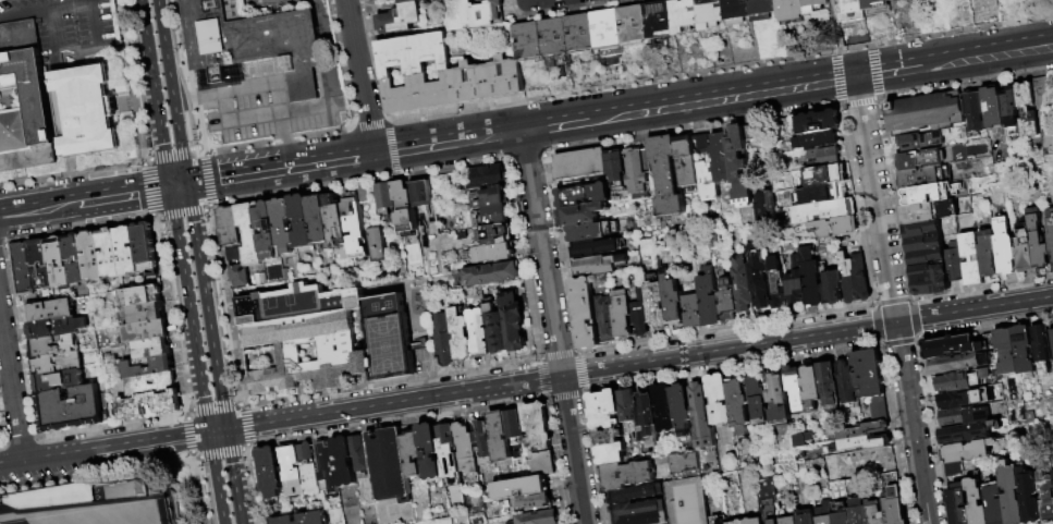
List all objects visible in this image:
road: (90, 0)
road: (138, 0)
road: (266, 0)
building: (372, 0)
building: (378, 0)
building: (894, 0)
building: (406, 1)
building: (874, 3)
building: (813, 5)
road: (45, 7)
building: (788, 8)
building: (762, 10)
building: (850, 10)
building: (736, 12)
building: (481, 13)
building: (710, 13)
building: (684, 15)
building: (400, 19)
building: (659, 20)
road: (95, 24)
building: (633, 24)
road: (54, 26)
building: (607, 27)
building: (580, 33)
building: (554, 36)
building: (528, 41)
building: (249, 45)
road: (163, 49)
road: (987, 54)
road: (834, 58)
road: (889, 71)
building: (415, 72)
road: (359, 76)
building: (502, 77)
road: (847, 77)
building: (467, 83)
road: (252, 86)
road: (154, 94)
road: (198, 95)
road: (734, 95)
building: (36, 100)
building: (993, 107)
building: (1011, 107)
road: (320, 108)
building: (1028, 109)
building: (1045, 109)
building: (86, 110)
building: (976, 111)
building: (927, 112)
road: (610, 115)
building: (812, 123)
road: (555, 124)
road: (284, 125)
road: (494, 134)
road: (193, 137)
building: (817, 139)
building: (705, 141)
road: (179, 142)
building: (916, 142)
road: (189, 146)
road: (421, 146)
road: (172, 154)
building: (823, 157)
building: (722, 158)
road: (340, 159)
building: (919, 159)
building: (687, 161)
building: (581, 163)
building: (740, 163)
building: (617, 168)
building: (637, 171)
road: (71, 174)
road: (245, 174)
building: (821, 174)
building: (668, 175)
building: (487, 176)
building: (919, 178)
road: (206, 179)
traffic signals: (186, 184)
road: (177, 185)
traffic signals: (169, 187)
road: (146, 190)
building: (830, 192)
building: (930, 193)
road: (123, 194)
building: (365, 194)
building: (423, 194)
building: (583, 195)
building: (385, 196)
building: (492, 197)
road: (39, 207)
building: (406, 207)
building: (822, 210)
building: (930, 211)
road: (182, 214)
building: (580, 214)
building: (493, 216)
building: (319, 220)
building: (336, 220)
building: (302, 221)
building: (355, 223)
building: (283, 224)
building: (230, 226)
building: (831, 227)
building: (267, 230)
building: (592, 231)
building: (1050, 231)
building: (250, 234)
building: (497, 234)
building: (923, 237)
building: (1037, 241)
building: (375, 243)
building: (596, 247)
building: (1004, 247)
building: (145, 248)
building: (1025, 249)
building: (126, 251)
building: (109, 253)
building: (232, 253)
building: (490, 254)
building: (988, 255)
building: (93, 257)
building: (75, 259)
building: (971, 259)
building: (58, 263)
building: (953, 263)
building: (40, 264)
building: (598, 265)
building: (23, 269)
building: (929, 273)
building: (489, 275)
building: (855, 278)
building: (811, 279)
building: (760, 282)
building: (742, 283)
building: (797, 284)
building: (777, 285)
building: (832, 288)
building: (140, 295)
building: (709, 297)
road: (893, 300)
building: (673, 301)
building: (727, 301)
road: (205, 307)
building: (656, 307)
road: (188, 309)
road: (975, 309)
building: (49, 310)
building: (693, 310)
building: (146, 313)
building: (586, 313)
building: (623, 314)
building: (640, 314)
building: (605, 318)
building: (513, 322)
building: (56, 327)
road: (553, 327)
building: (497, 330)
building: (145, 331)
building: (479, 333)
building: (1052, 334)
building: (325, 336)
building: (460, 337)
building: (444, 340)
building: (52, 345)
building: (953, 345)
building: (1042, 348)
building: (151, 349)
road: (730, 349)
building: (1023, 350)
building: (1006, 351)
building: (57, 363)
building: (960, 363)
building: (147, 367)
building: (869, 373)
building: (962, 380)
building: (58, 381)
building: (847, 381)
building: (150, 383)
building: (830, 386)
building: (812, 387)
building: (797, 388)
road: (12, 389)
building: (964, 398)
building: (720, 399)
building: (758, 400)
building: (779, 400)
road: (393, 403)
building: (167, 405)
building: (682, 406)
building: (739, 406)
road: (217, 407)
building: (664, 407)
building: (70, 409)
building: (629, 410)
building: (701, 415)
building: (965, 416)
building: (648, 417)
building: (537, 425)
building: (609, 426)
road: (248, 427)
traffic signals: (225, 430)
road: (217, 431)
building: (505, 432)
building: (965, 432)
traffic signals: (208, 434)
road: (191, 436)
building: (865, 437)
building: (446, 439)
building: (483, 442)
road: (115, 448)
building: (466, 449)
building: (431, 452)
building: (412, 453)
road: (222, 454)
building: (360, 454)
building: (964, 455)
building: (871, 456)
road: (193, 458)
building: (344, 462)
building: (682, 462)
building: (543, 463)
road: (12, 464)
building: (290, 464)
building: (388, 464)
building: (328, 468)
building: (308, 470)
building: (270, 471)
building: (830, 472)
road: (97, 474)
building: (627, 474)
road: (232, 477)
road: (216, 478)
building: (522, 488)
road: (203, 489)
building: (1012, 493)
building: (1029, 496)
building: (1046, 498)
building: (894, 499)
building: (537, 501)
building: (687, 501)
building: (769, 501)
building: (977, 501)
building: (995, 504)
building: (639, 505)
building: (958, 505)
park: (74, 508)
building: (824, 511)
building: (858, 511)
building: (876, 513)
building: (806, 516)
building: (538, 517)
building: (843, 517)
building: (303, 519)
building: (718, 520)
building: (789, 520)
building: (433, 521)
building: (755, 521)
building: (739, 522)

